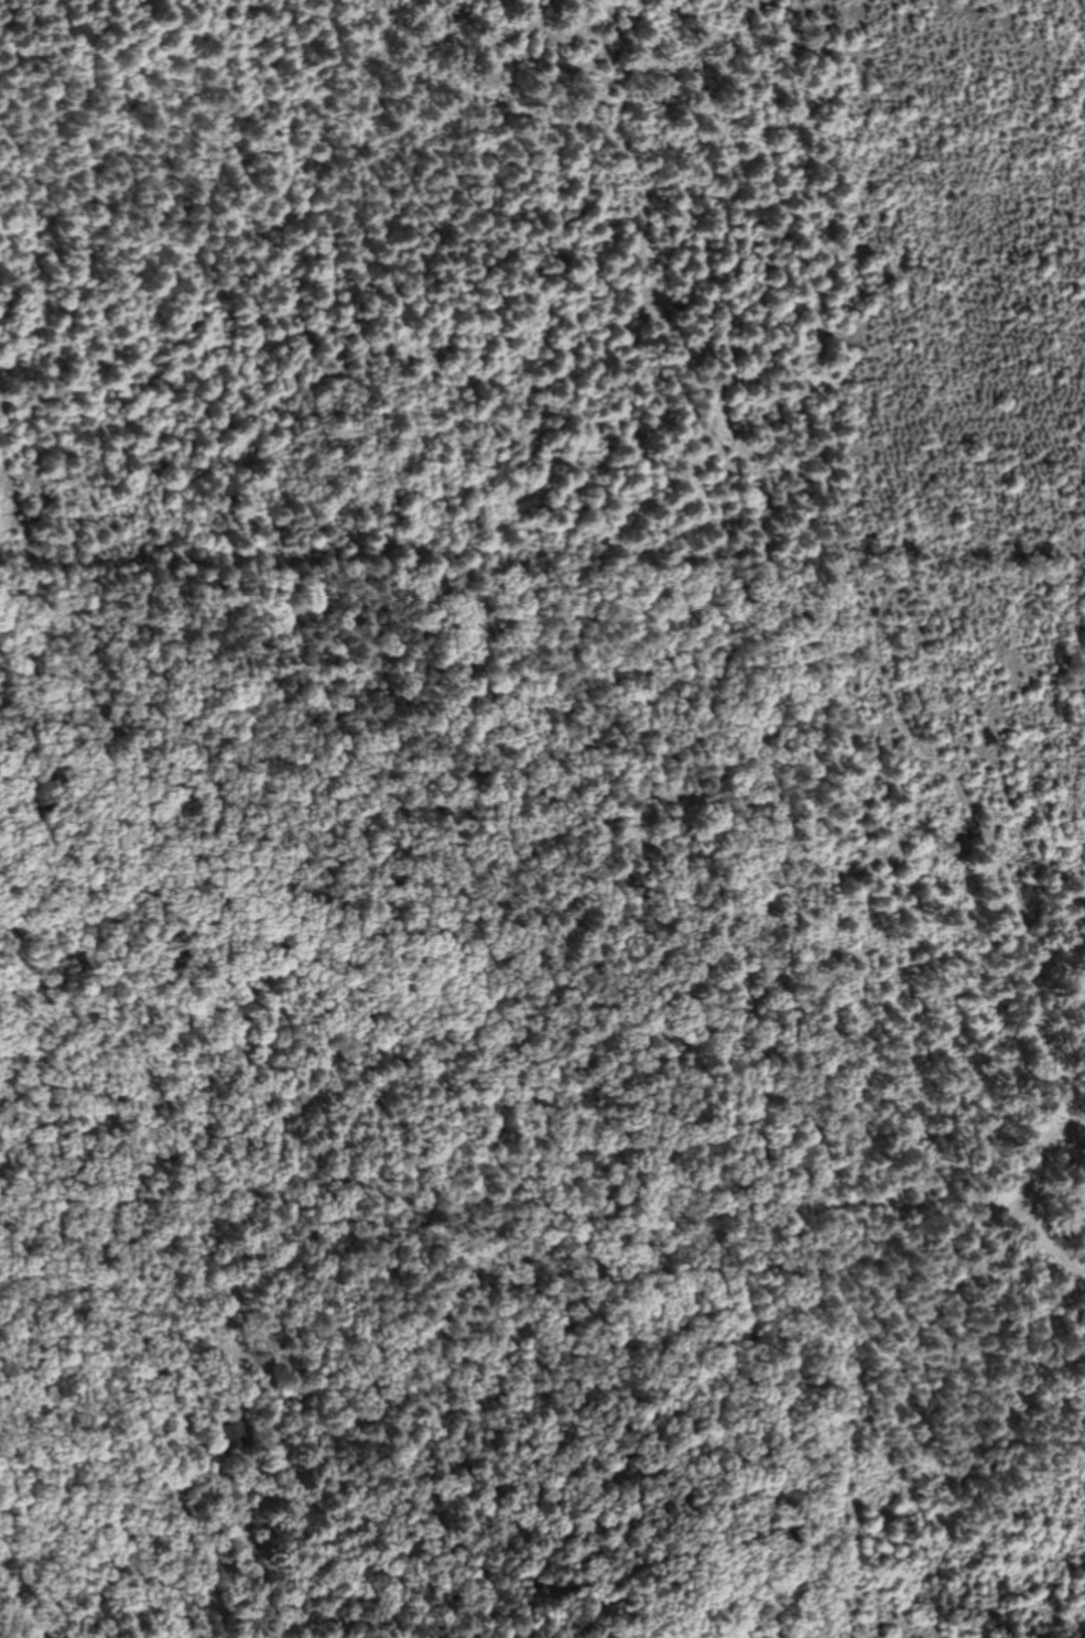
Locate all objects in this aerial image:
building: (232, 1441)

